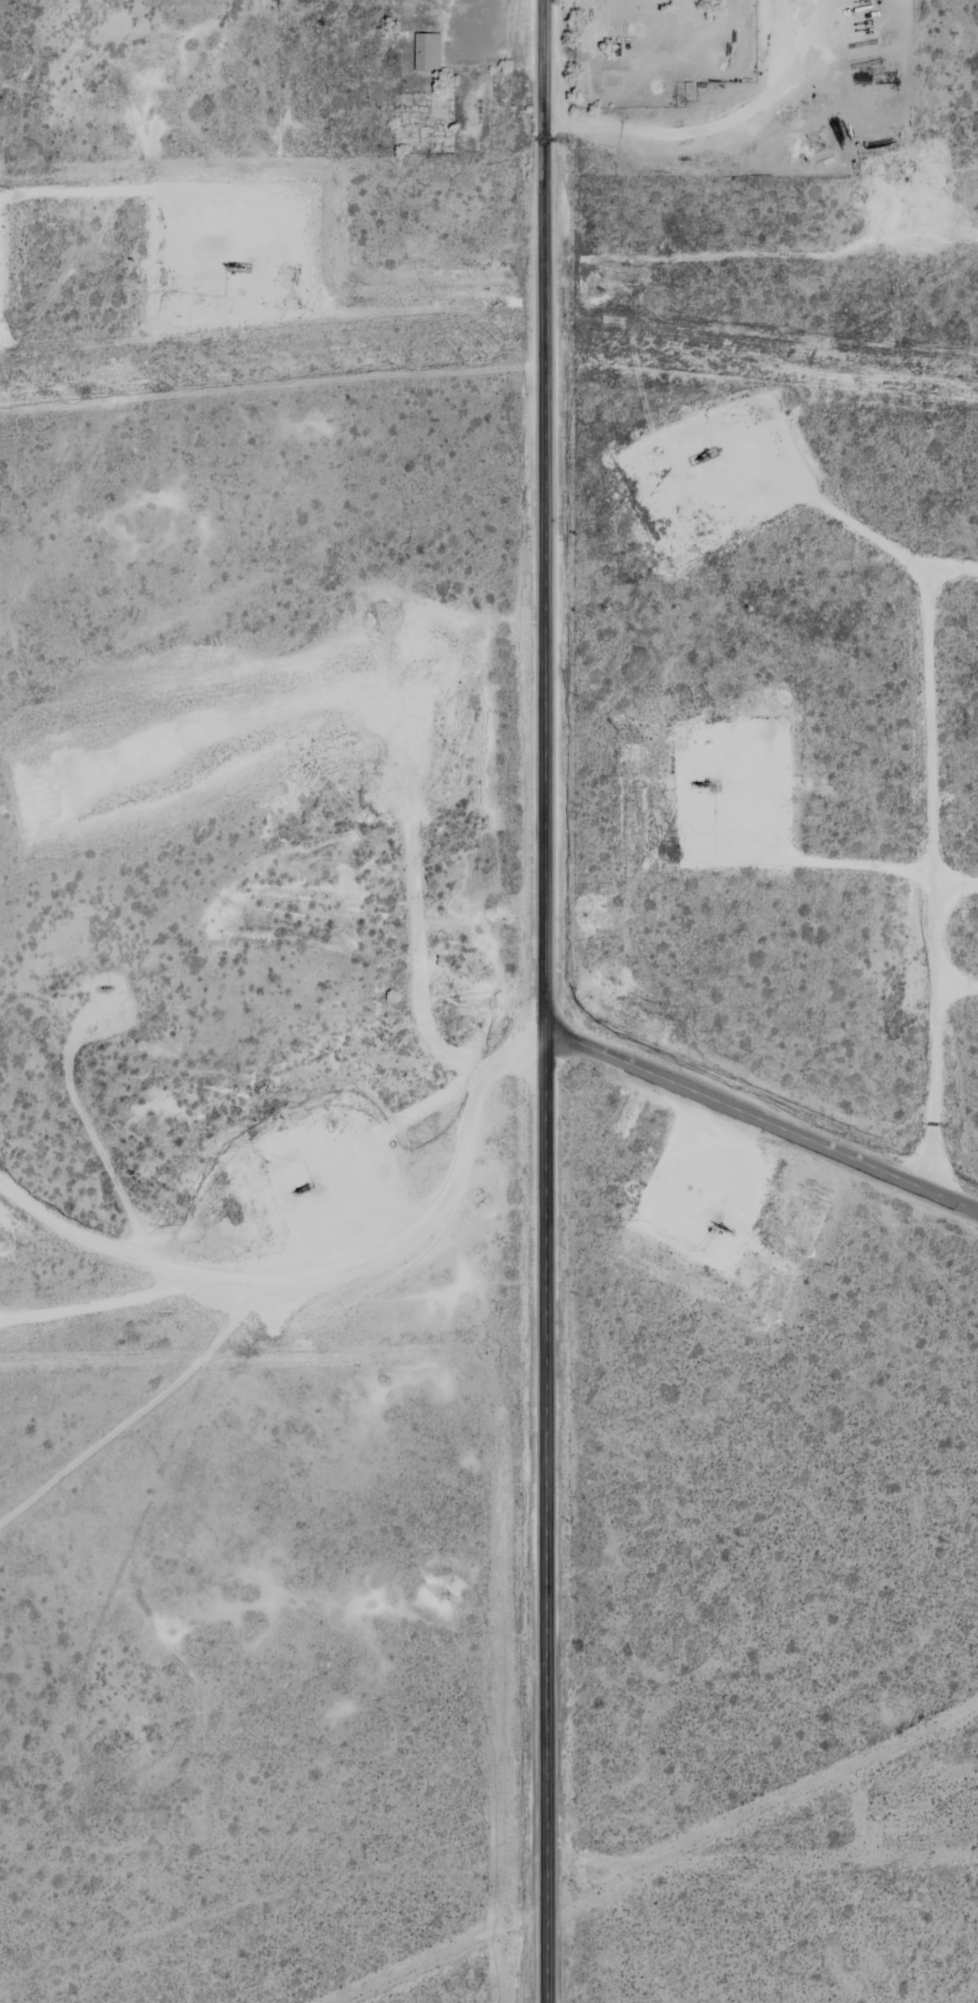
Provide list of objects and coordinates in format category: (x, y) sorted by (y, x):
road: (429, 14)
road: (763, 242)
road: (546, 1001)
road: (270, 1097)
road: (758, 1120)
road: (163, 1307)
road: (726, 1862)

